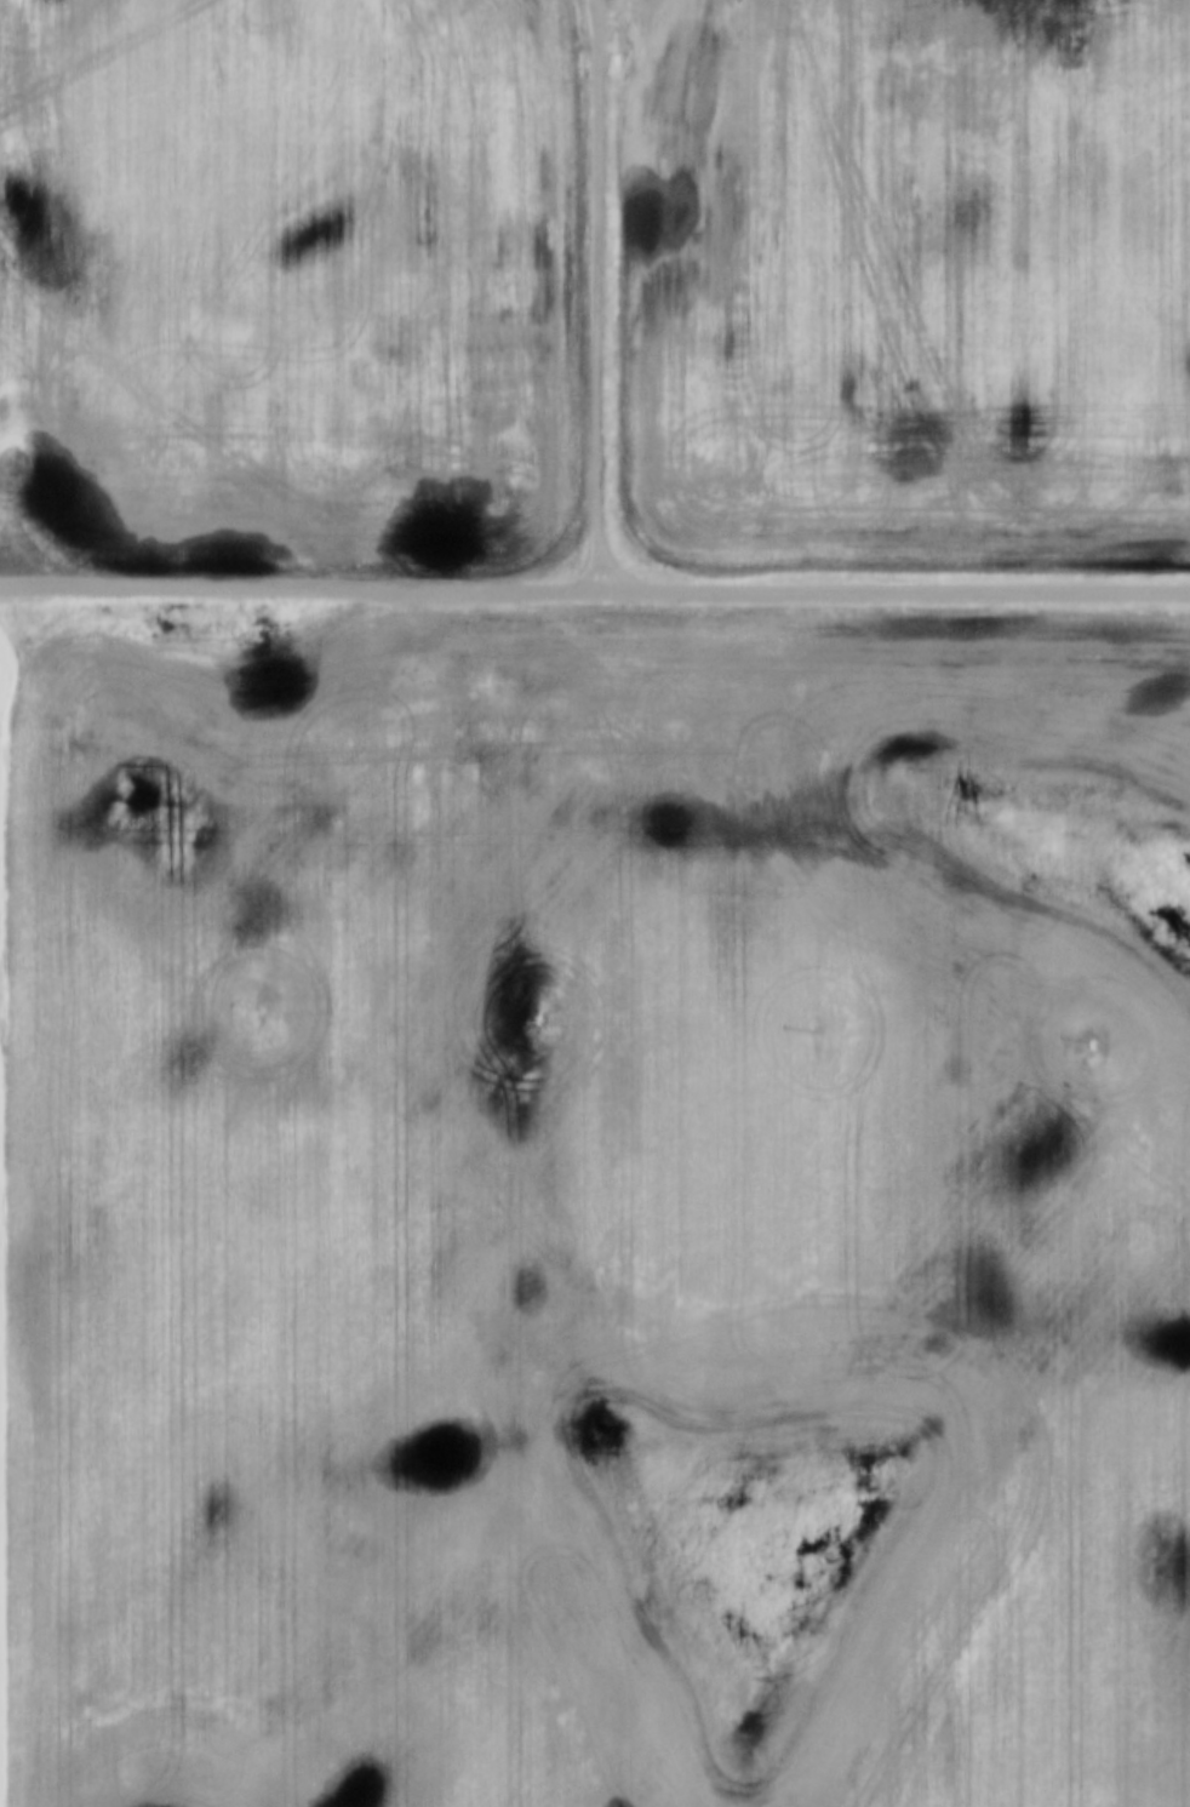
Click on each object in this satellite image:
road: (599, 292)
road: (594, 583)

